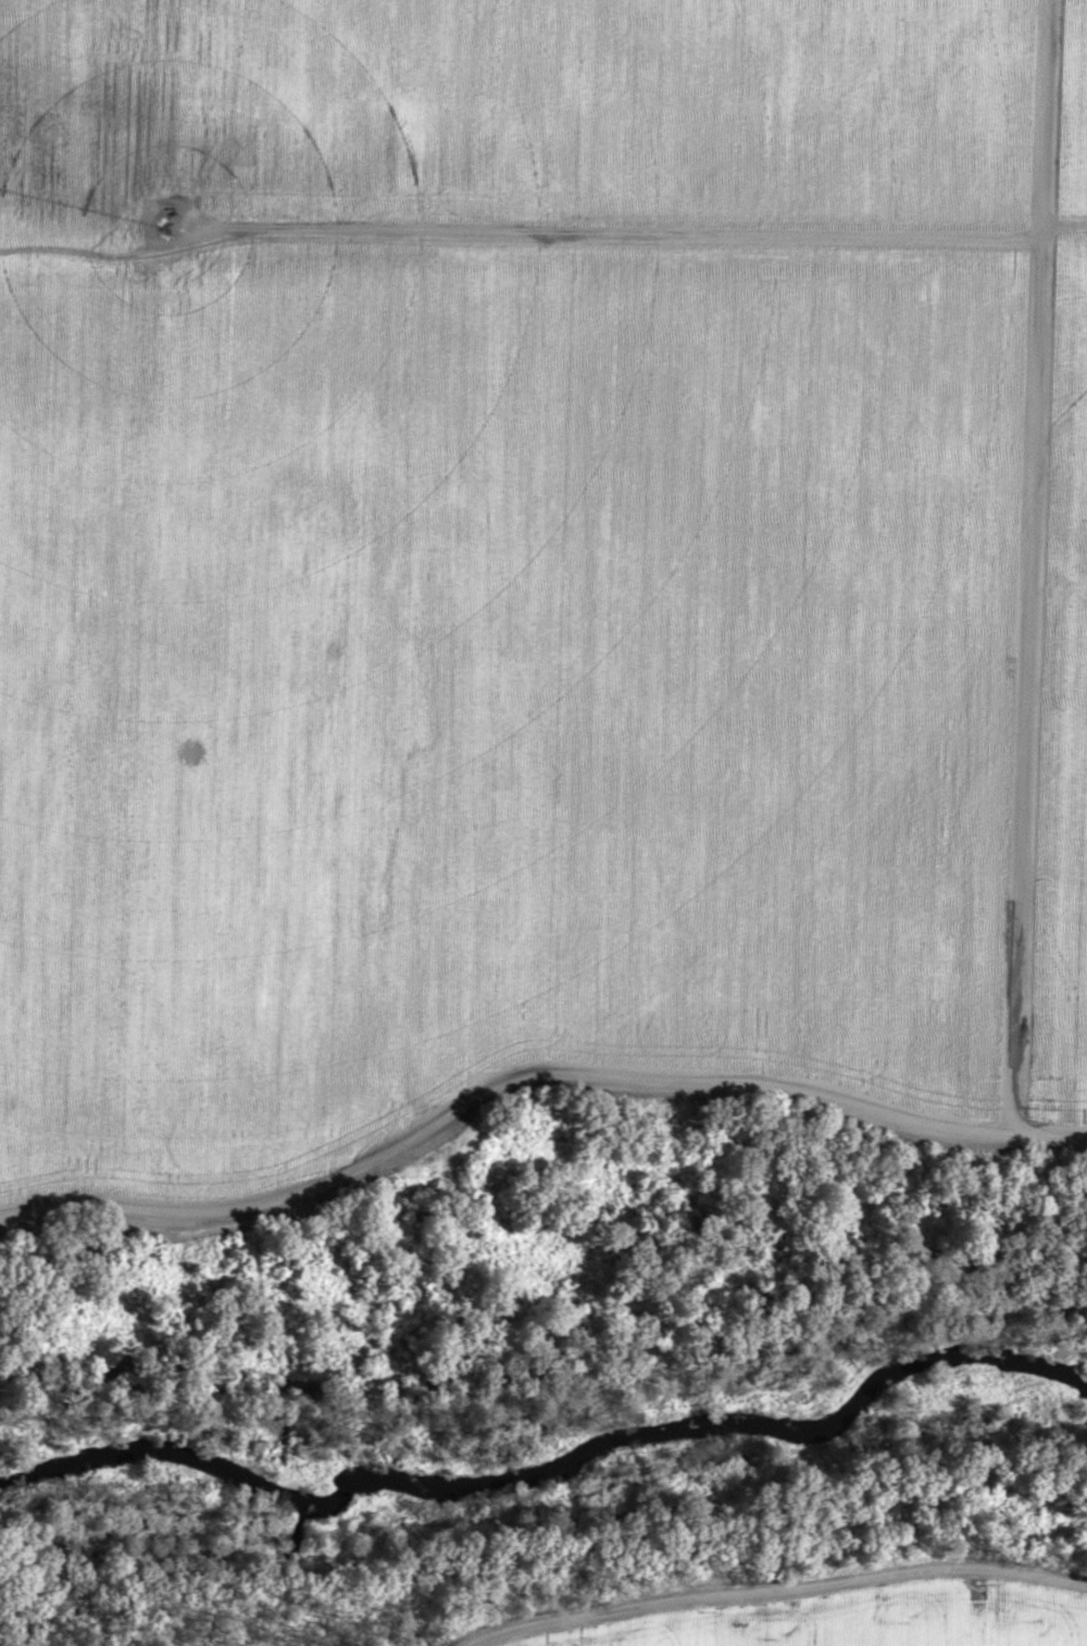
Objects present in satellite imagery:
road: (529, 224)
road: (1026, 569)
road: (529, 1074)
river: (552, 1467)

